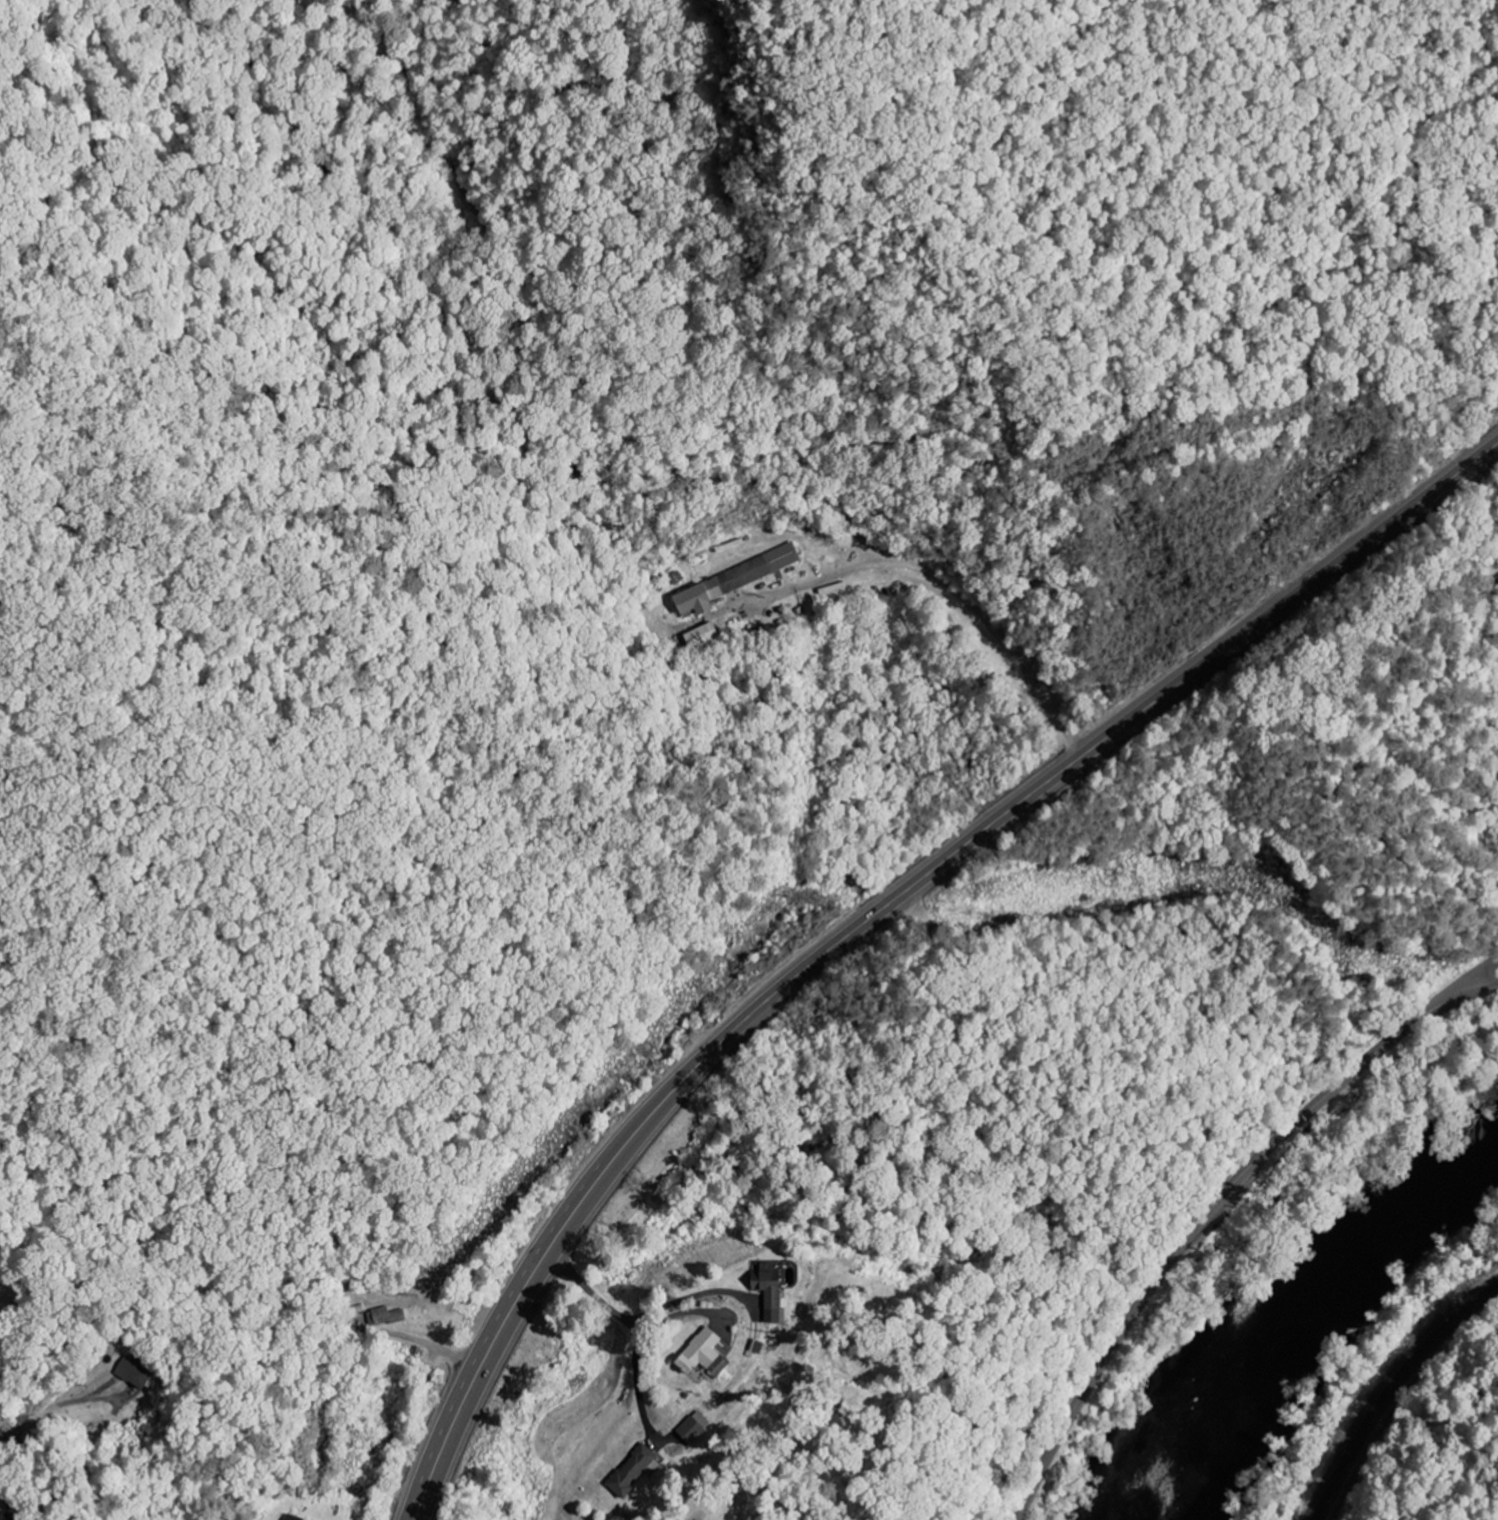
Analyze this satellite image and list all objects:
road: (957, 549)
building: (736, 581)
building: (703, 636)
road: (877, 909)
road: (1461, 988)
road: (1211, 1211)
road: (584, 1284)
building: (777, 1293)
river: (1317, 1319)
building: (716, 1354)
building: (135, 1372)
railway: (1387, 1387)
building: (701, 1428)
road: (4, 1438)
building: (641, 1471)
road: (163, 1510)
building: (289, 1518)

